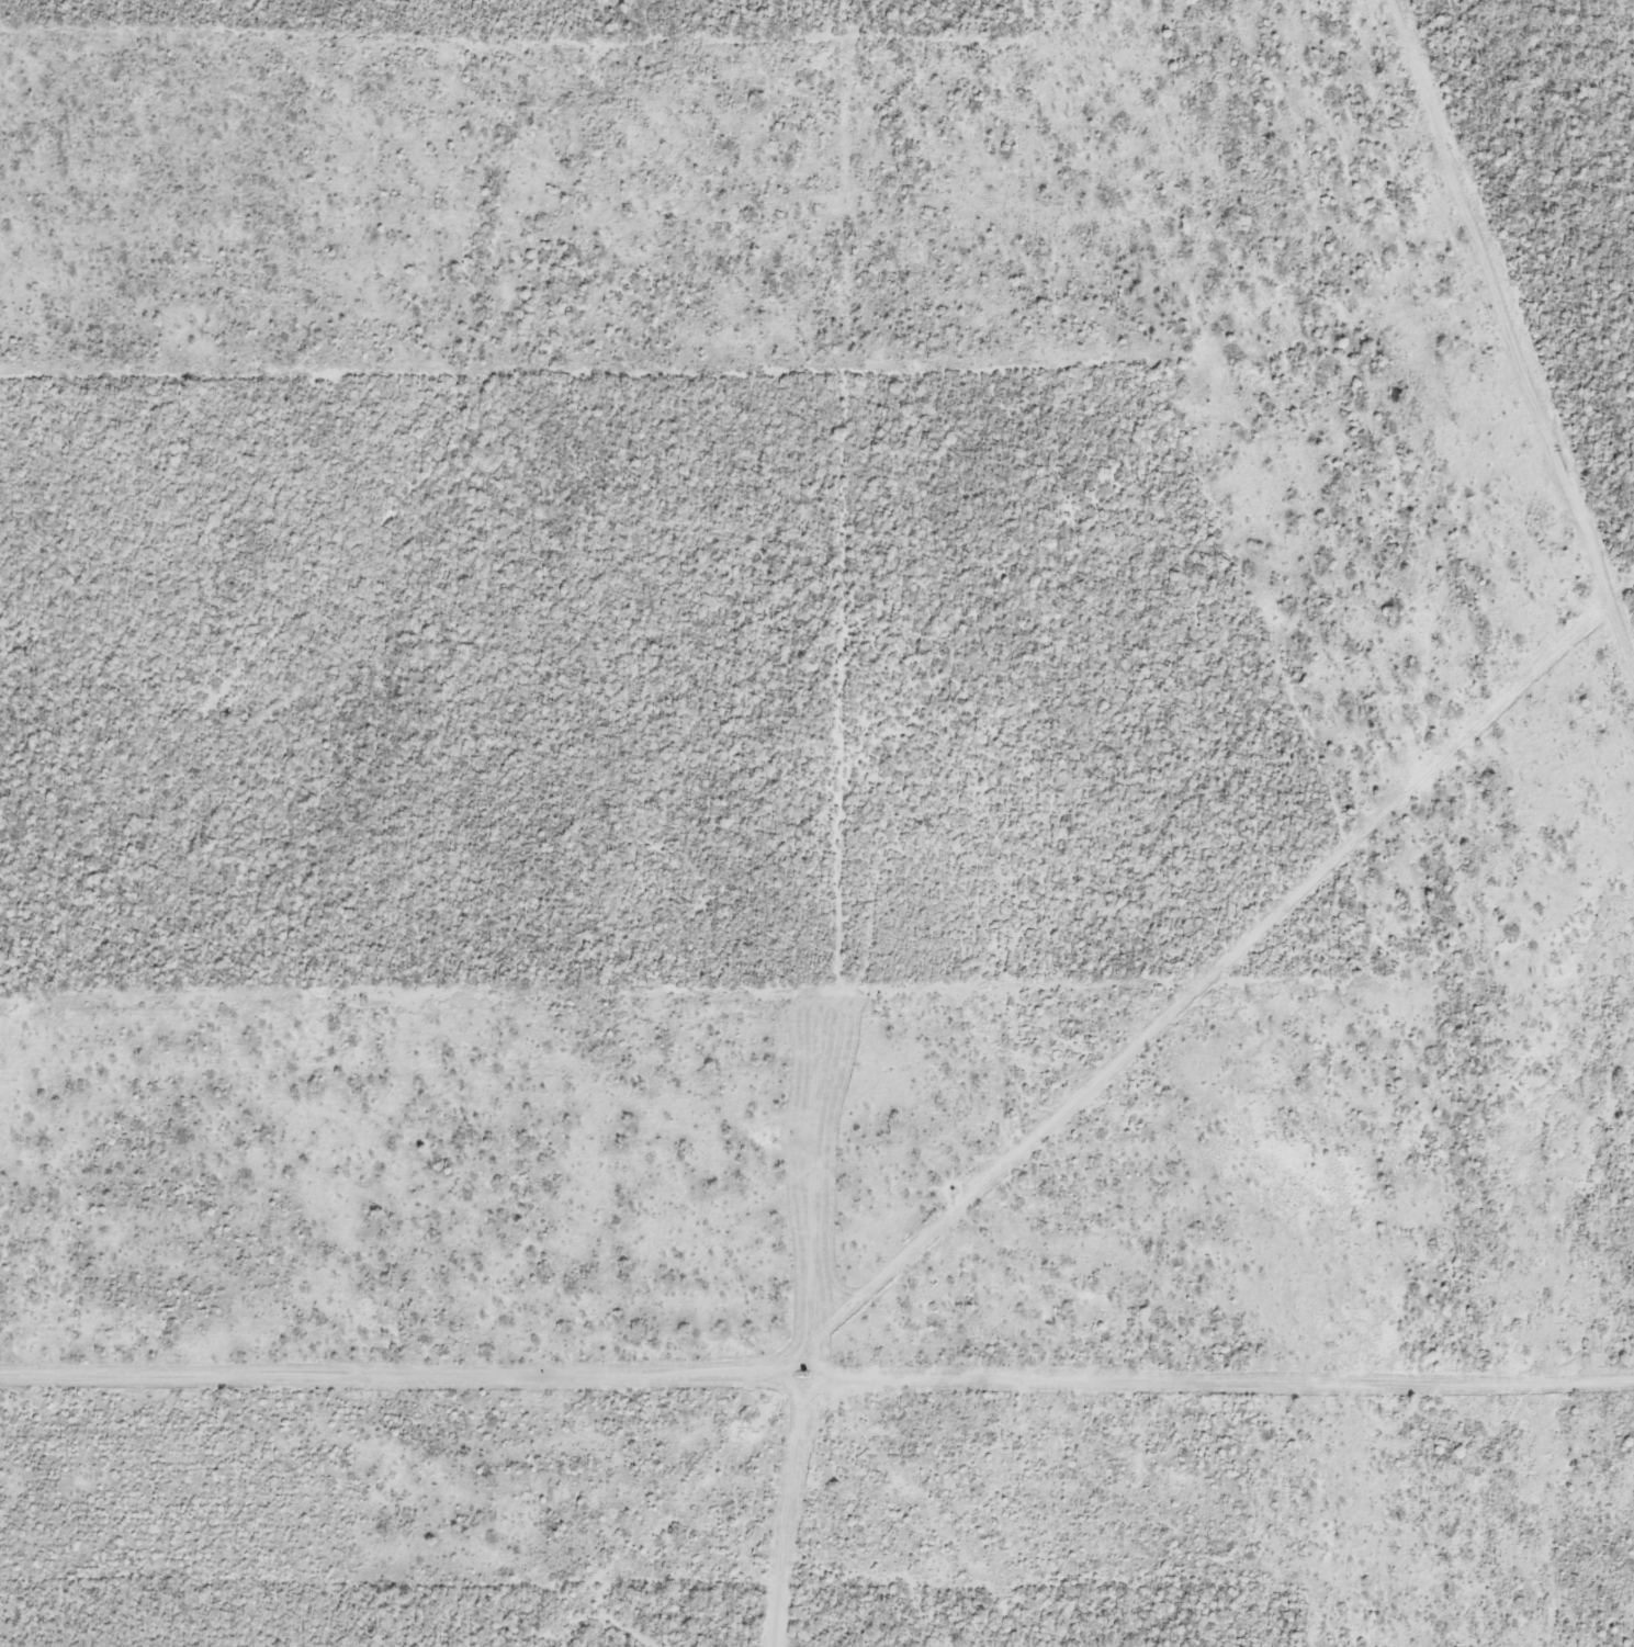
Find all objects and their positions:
power tower: (1458, 171)
power tower: (1568, 471)

